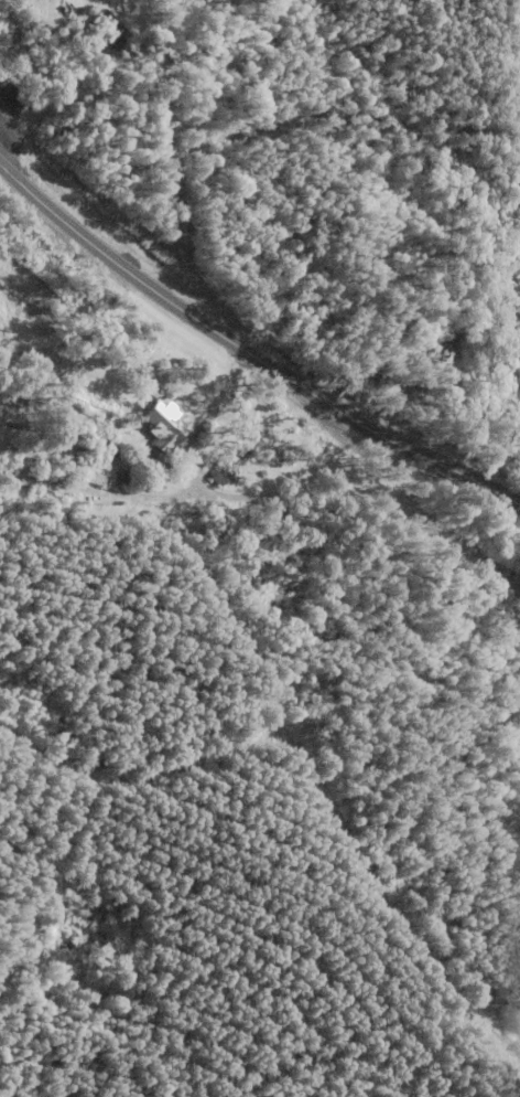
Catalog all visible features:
building: (113, 30)
building: (14, 100)
road: (249, 360)
building: (163, 426)
building: (297, 467)
building: (221, 476)

